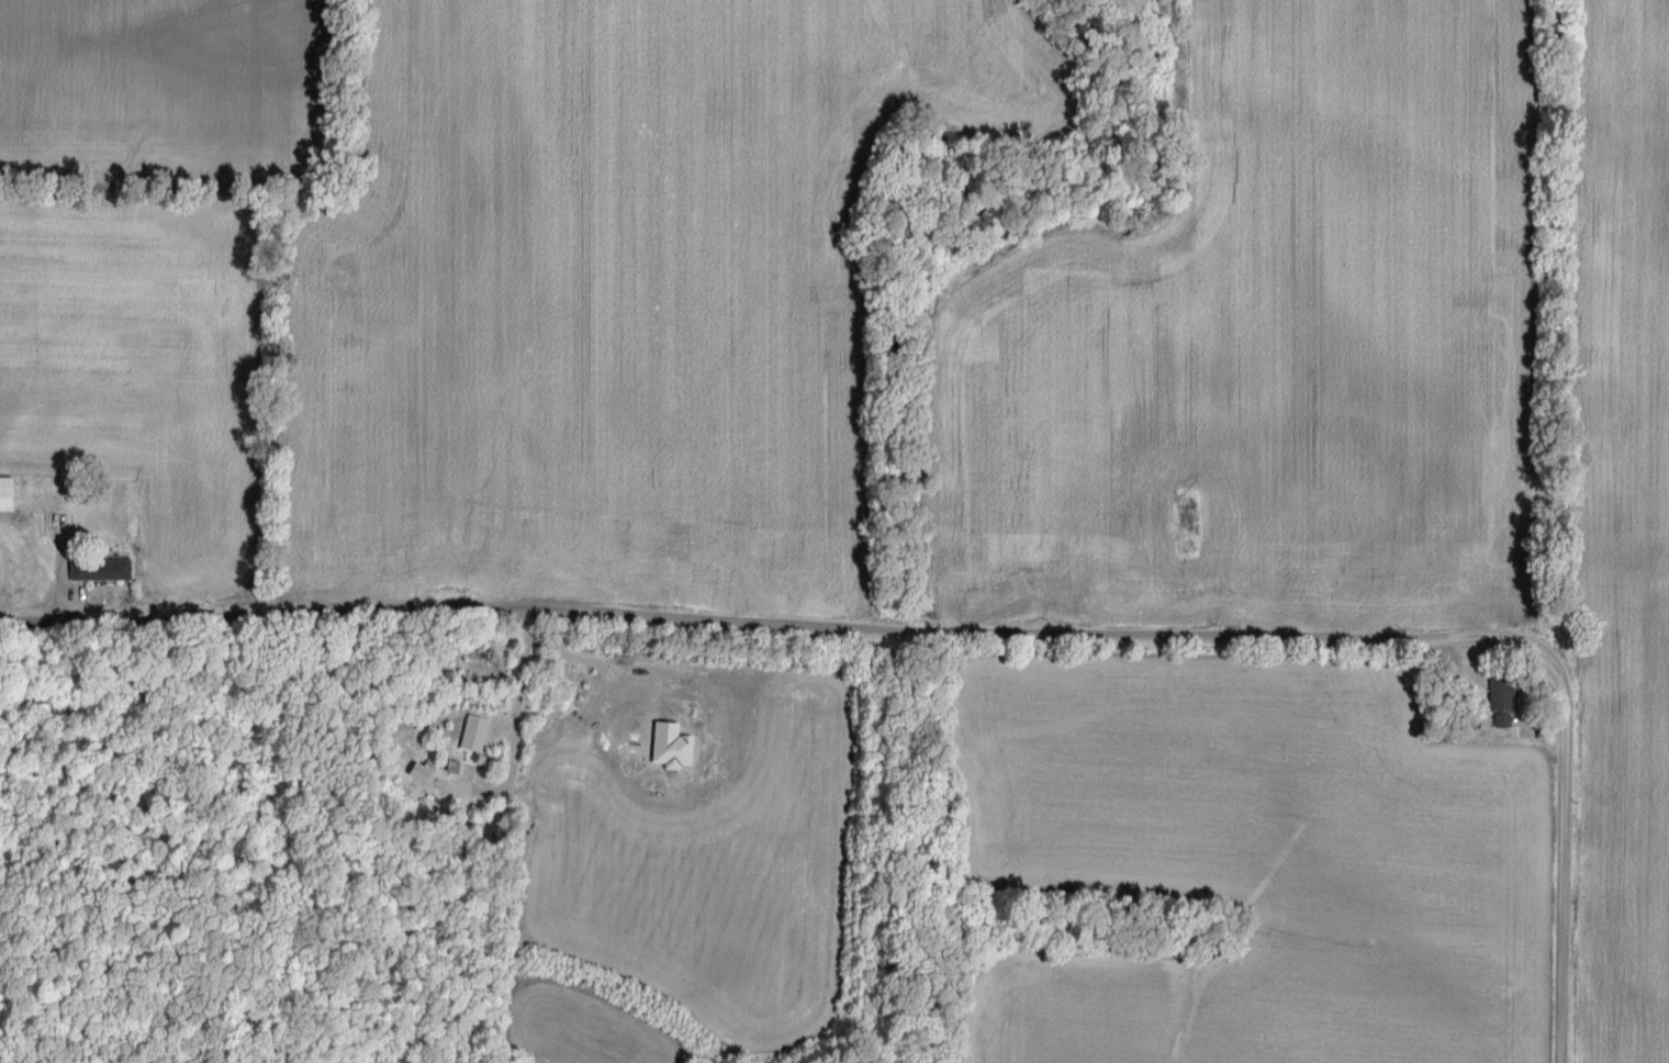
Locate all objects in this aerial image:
building: (10, 494)
building: (105, 569)
road: (977, 631)
road: (522, 675)
building: (1509, 690)
building: (428, 774)

